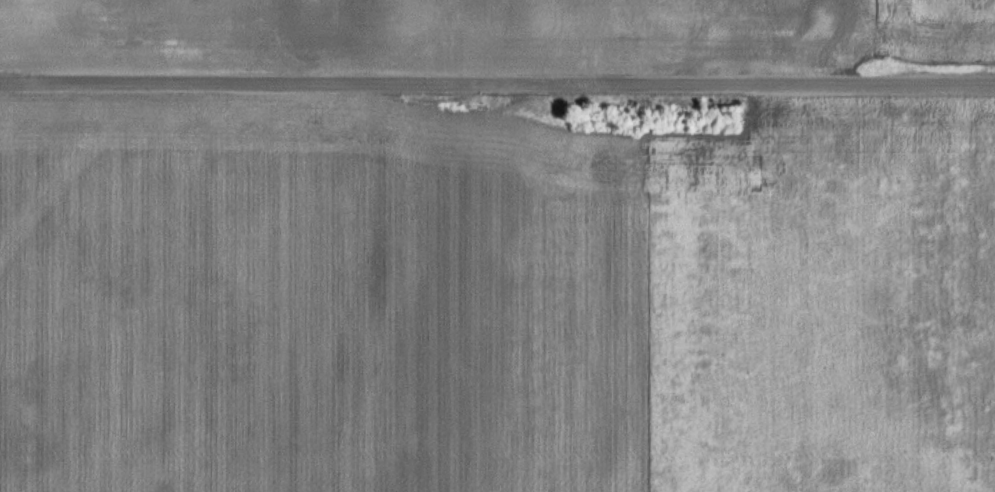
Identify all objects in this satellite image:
road: (497, 83)

